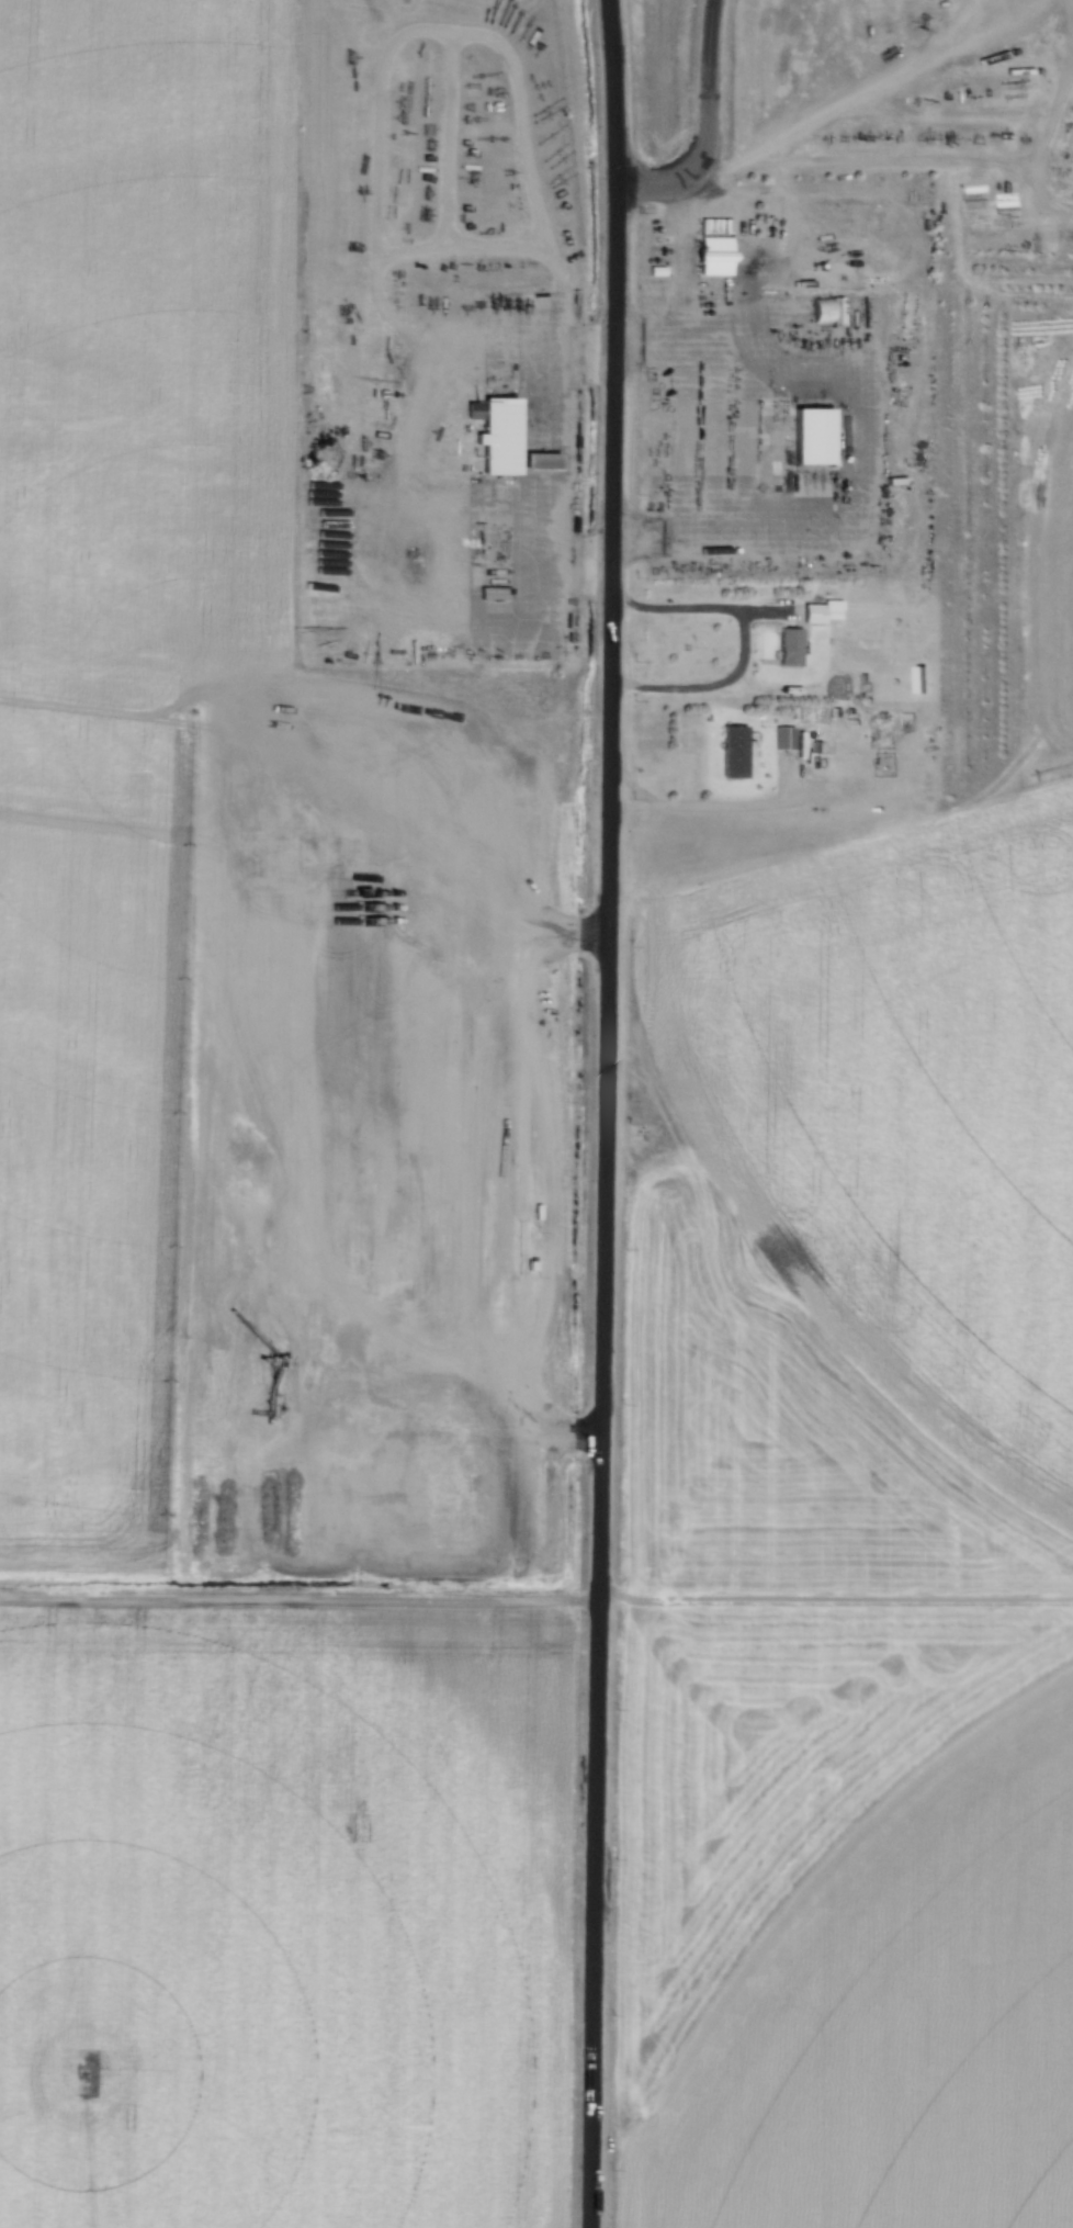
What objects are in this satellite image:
road: (707, 128)
building: (775, 228)
building: (715, 257)
building: (823, 313)
building: (497, 434)
building: (814, 436)
road: (857, 446)
building: (542, 462)
road: (567, 470)
building: (834, 563)
crop: (177, 603)
building: (814, 614)
road: (748, 648)
building: (791, 648)
building: (784, 739)
building: (736, 753)
road: (722, 806)
road: (606, 1113)
crop: (860, 1515)
crop: (282, 1918)

